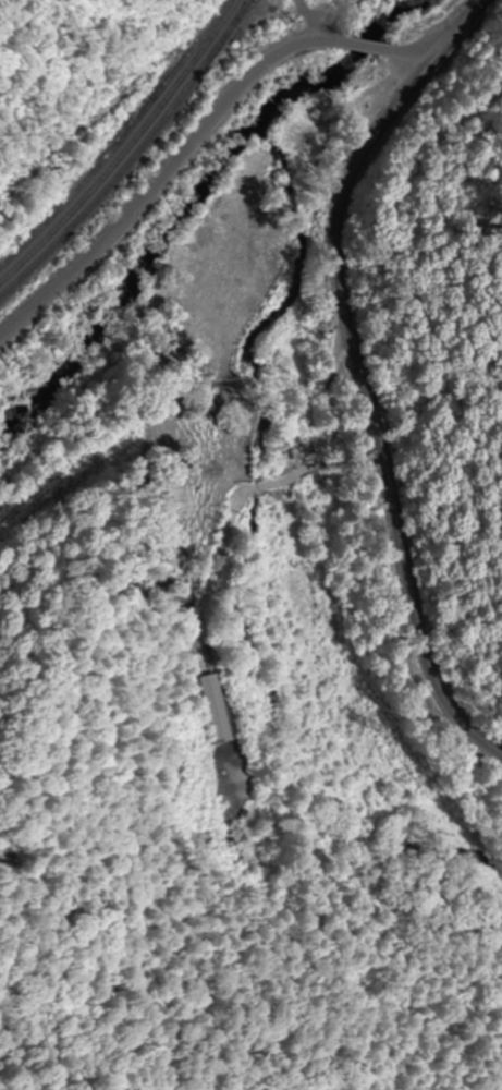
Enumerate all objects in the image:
road: (309, 17)
road: (458, 34)
road: (195, 137)
railway: (124, 148)
road: (374, 411)
building: (209, 706)

